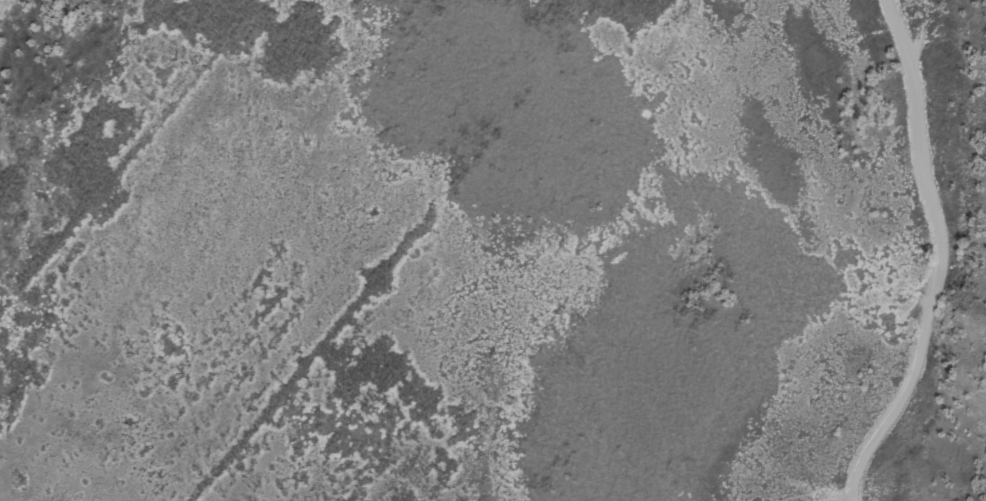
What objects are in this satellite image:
road: (956, 257)

